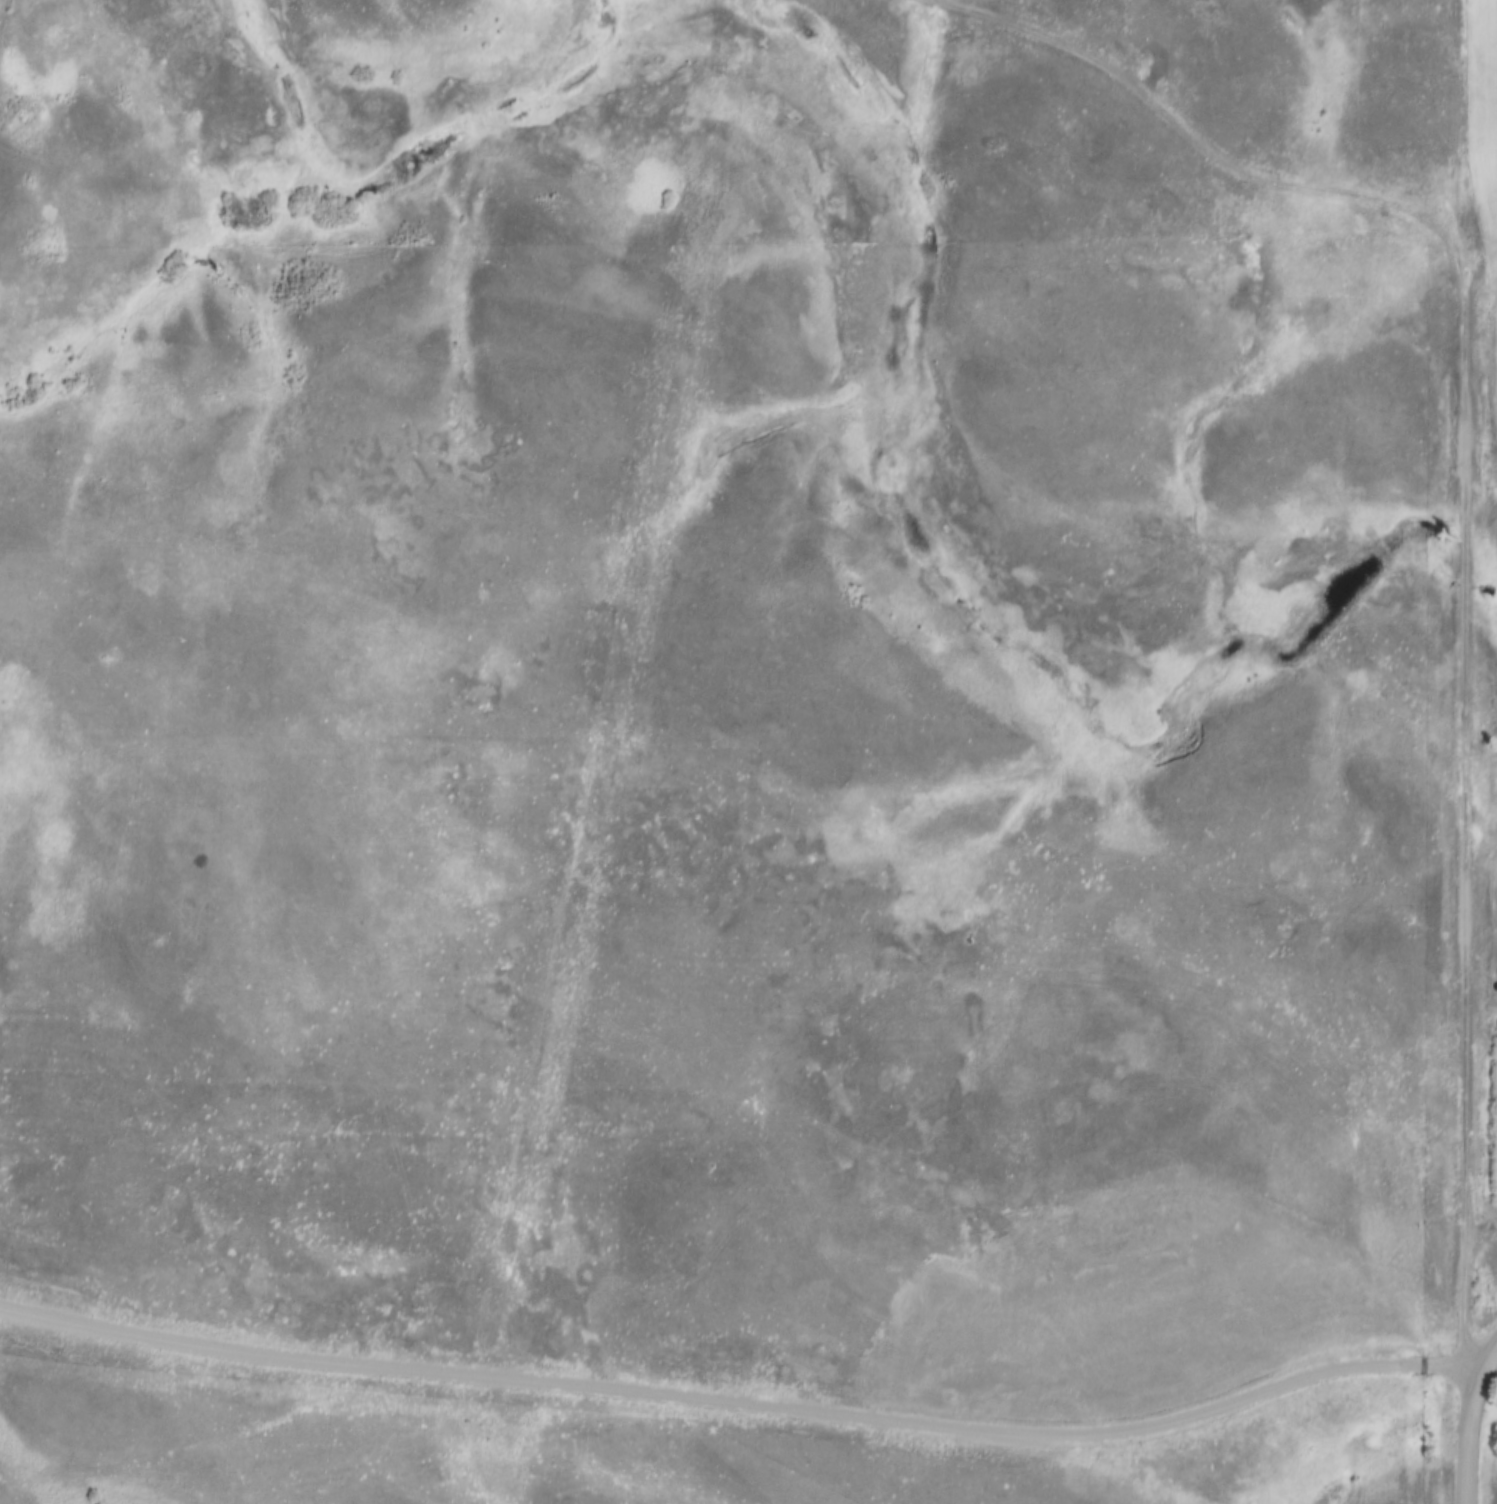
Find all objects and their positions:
road: (747, 1402)
road: (1470, 1420)

